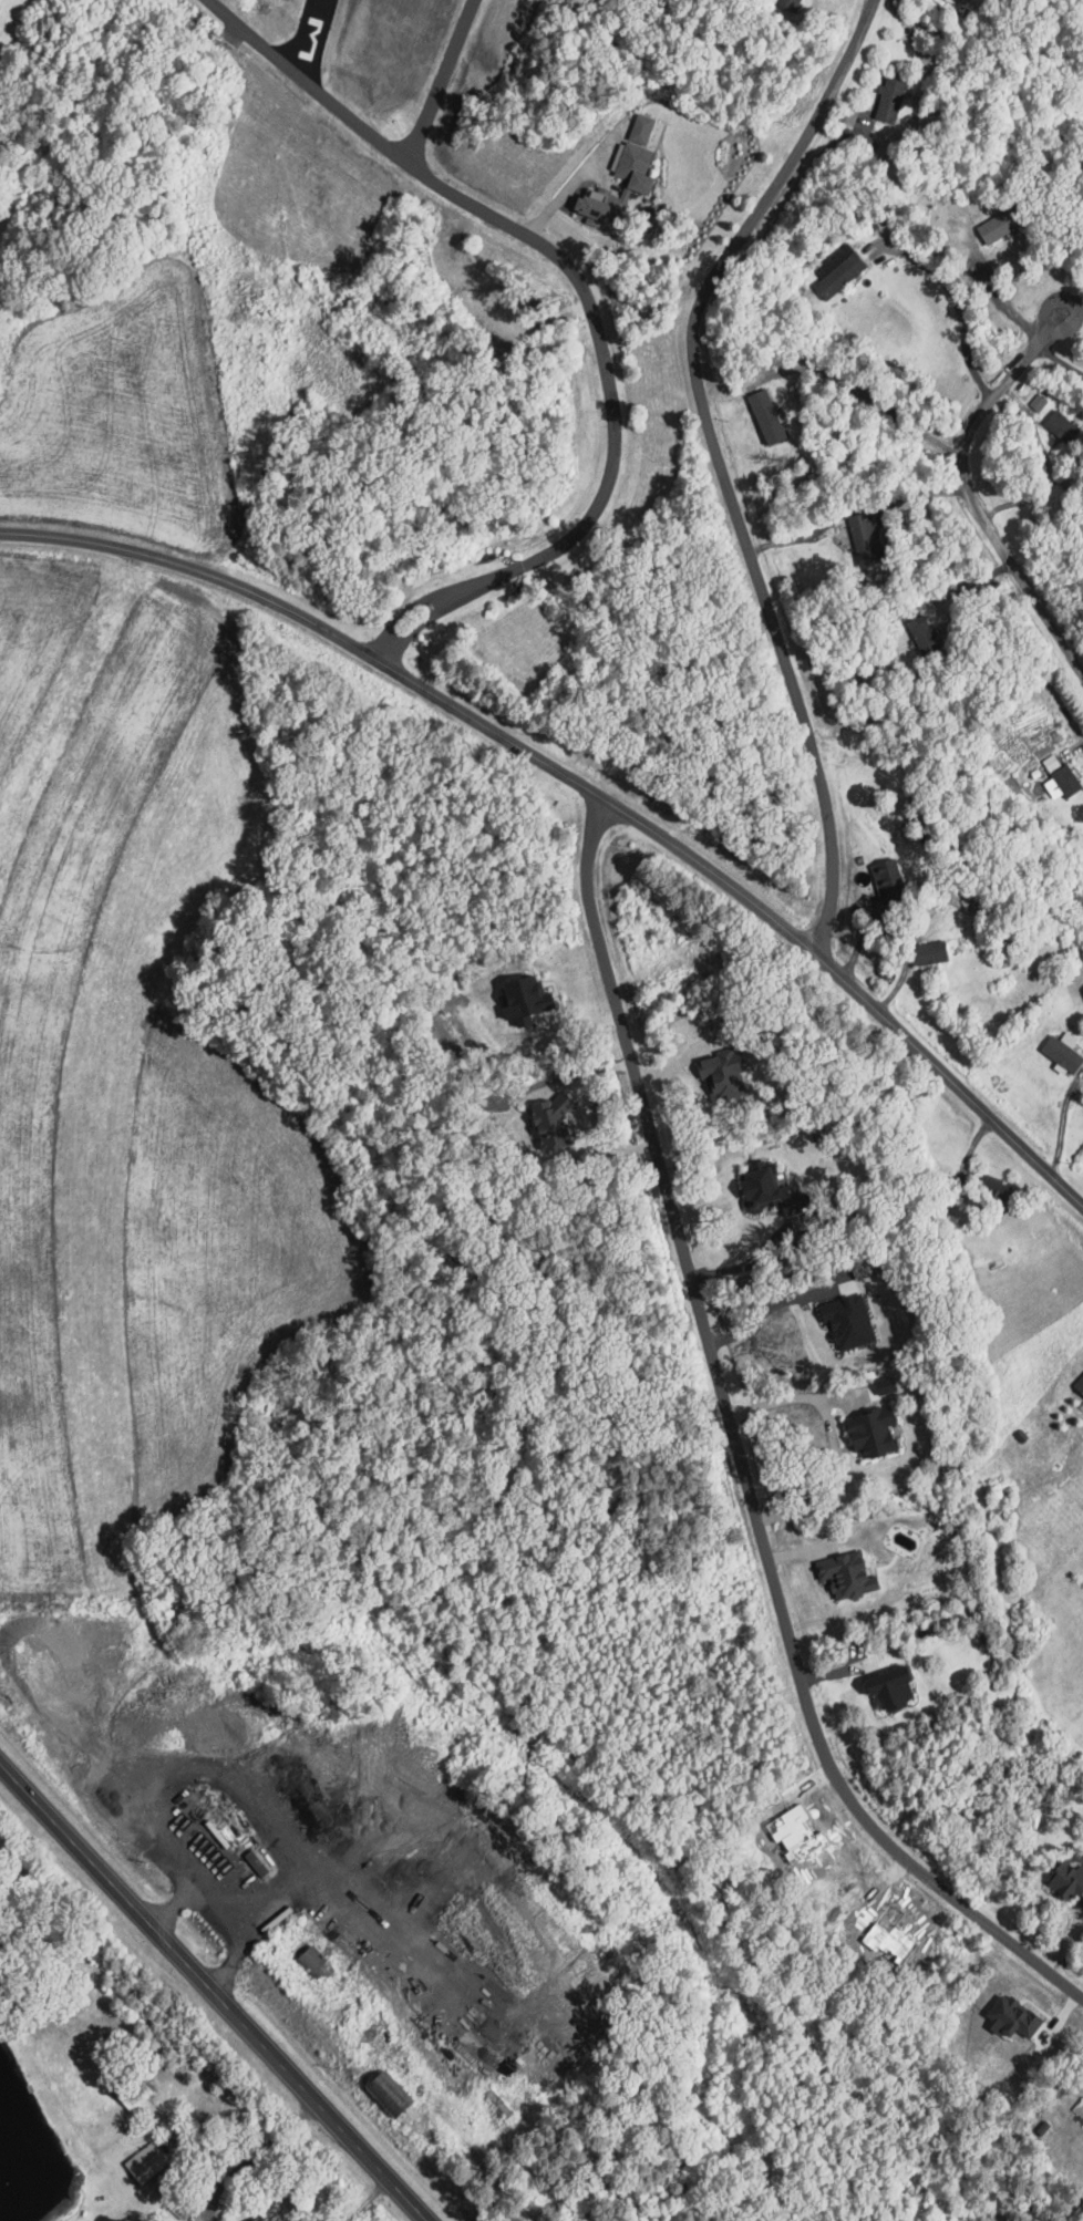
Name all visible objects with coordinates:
airport runway: (312, 37)
road: (444, 82)
building: (895, 99)
road: (349, 113)
building: (642, 154)
road: (563, 190)
building: (606, 205)
building: (1004, 224)
building: (840, 270)
road: (997, 296)
road: (956, 302)
road: (1048, 310)
road: (1077, 310)
road: (1053, 359)
road: (869, 397)
building: (772, 414)
road: (607, 423)
road: (714, 455)
road: (1046, 464)
road: (965, 500)
road: (850, 512)
building: (868, 536)
road: (411, 610)
road: (422, 622)
road: (384, 650)
road: (1073, 751)
building: (1052, 762)
building: (1067, 779)
road: (587, 788)
building: (893, 880)
building: (934, 952)
building: (528, 995)
building: (1065, 1053)
building: (729, 1073)
building: (769, 1185)
road: (759, 1260)
road: (816, 1291)
building: (850, 1322)
building: (891, 1384)
building: (1081, 1384)
road: (795, 1397)
building: (879, 1430)
road: (738, 1449)
road: (833, 1484)
building: (853, 1574)
building: (898, 1685)
road: (229, 1787)
building: (1071, 1881)
road: (216, 1918)
road: (214, 1991)
building: (1017, 2017)
building: (398, 2094)
road: (256, 2156)
building: (149, 2161)
building: (264, 2217)

